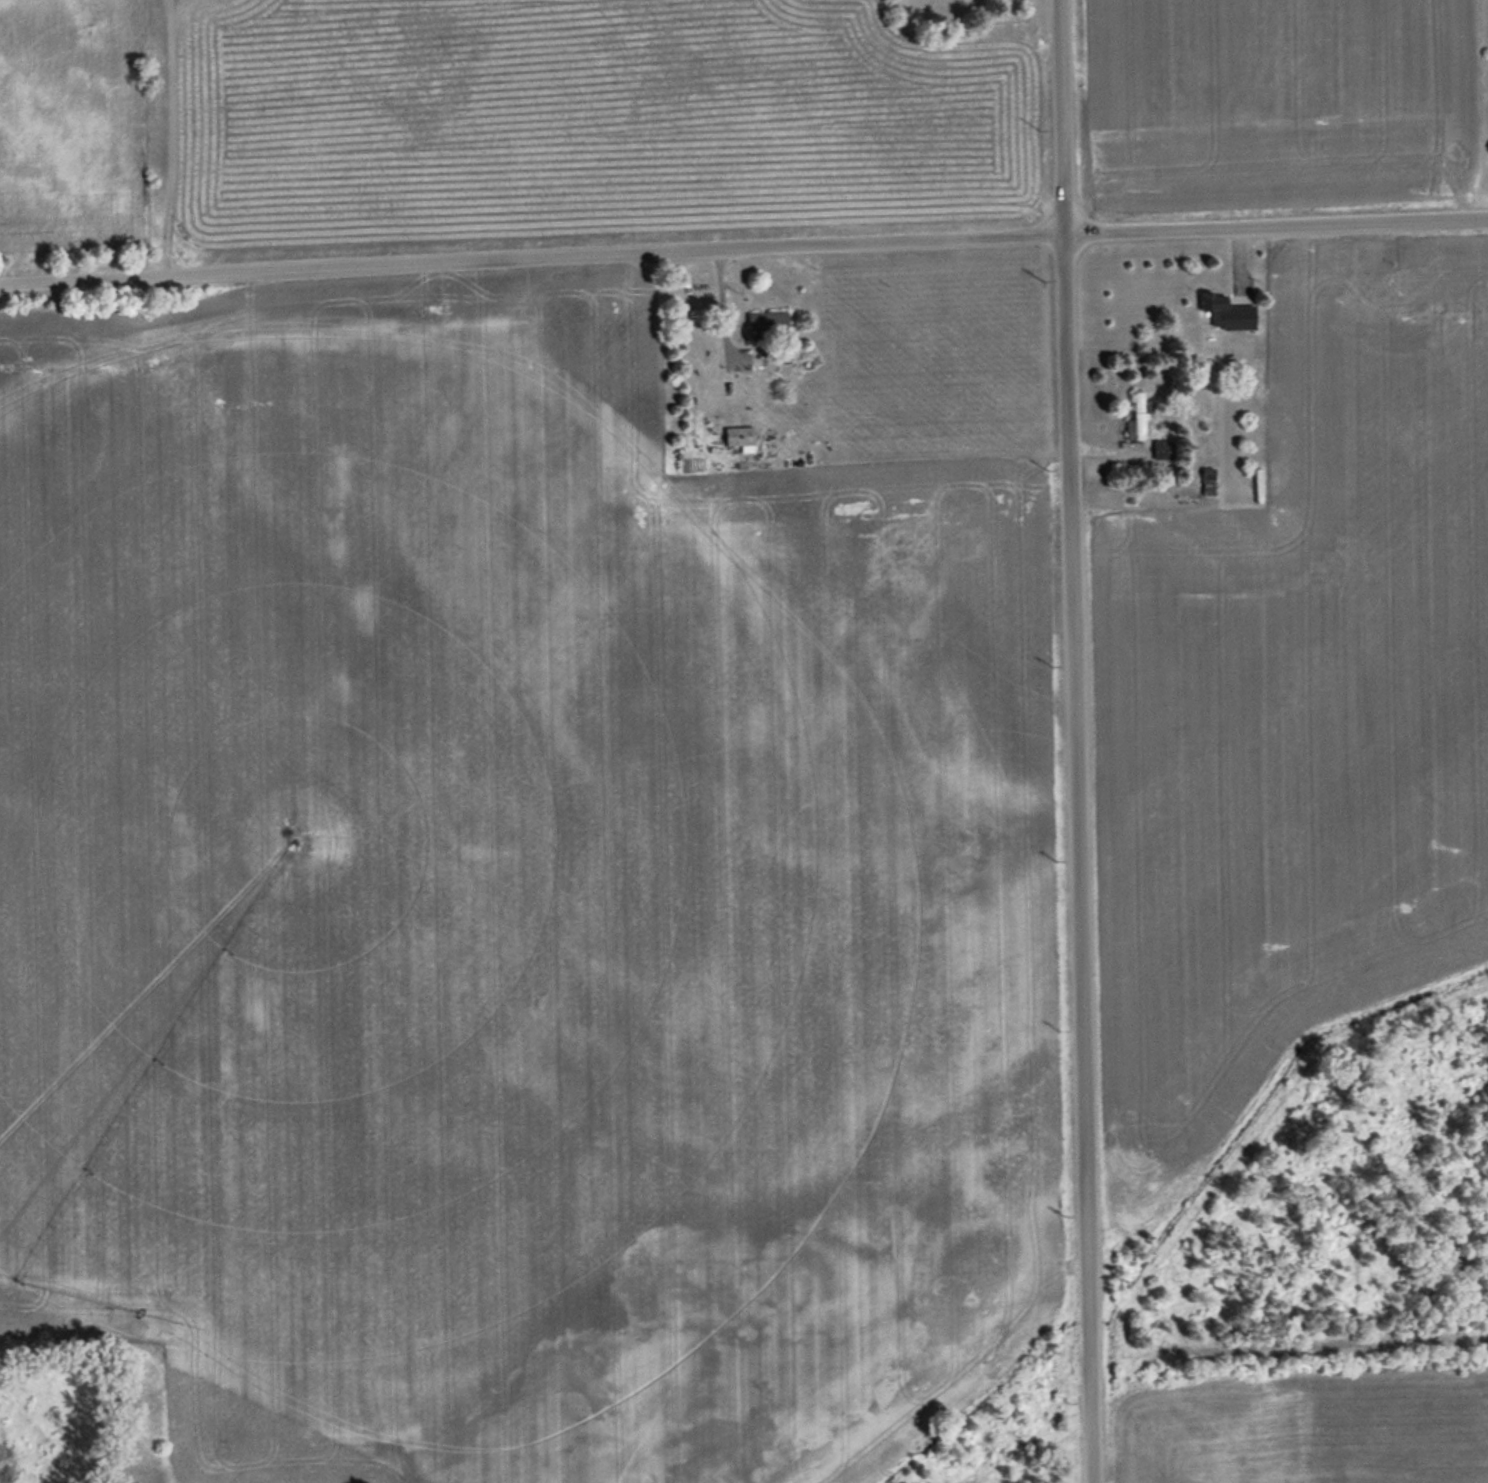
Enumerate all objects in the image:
road: (743, 248)
building: (1225, 313)
building: (768, 322)
building: (1138, 416)
building: (739, 435)
building: (1162, 449)
road: (1074, 741)

